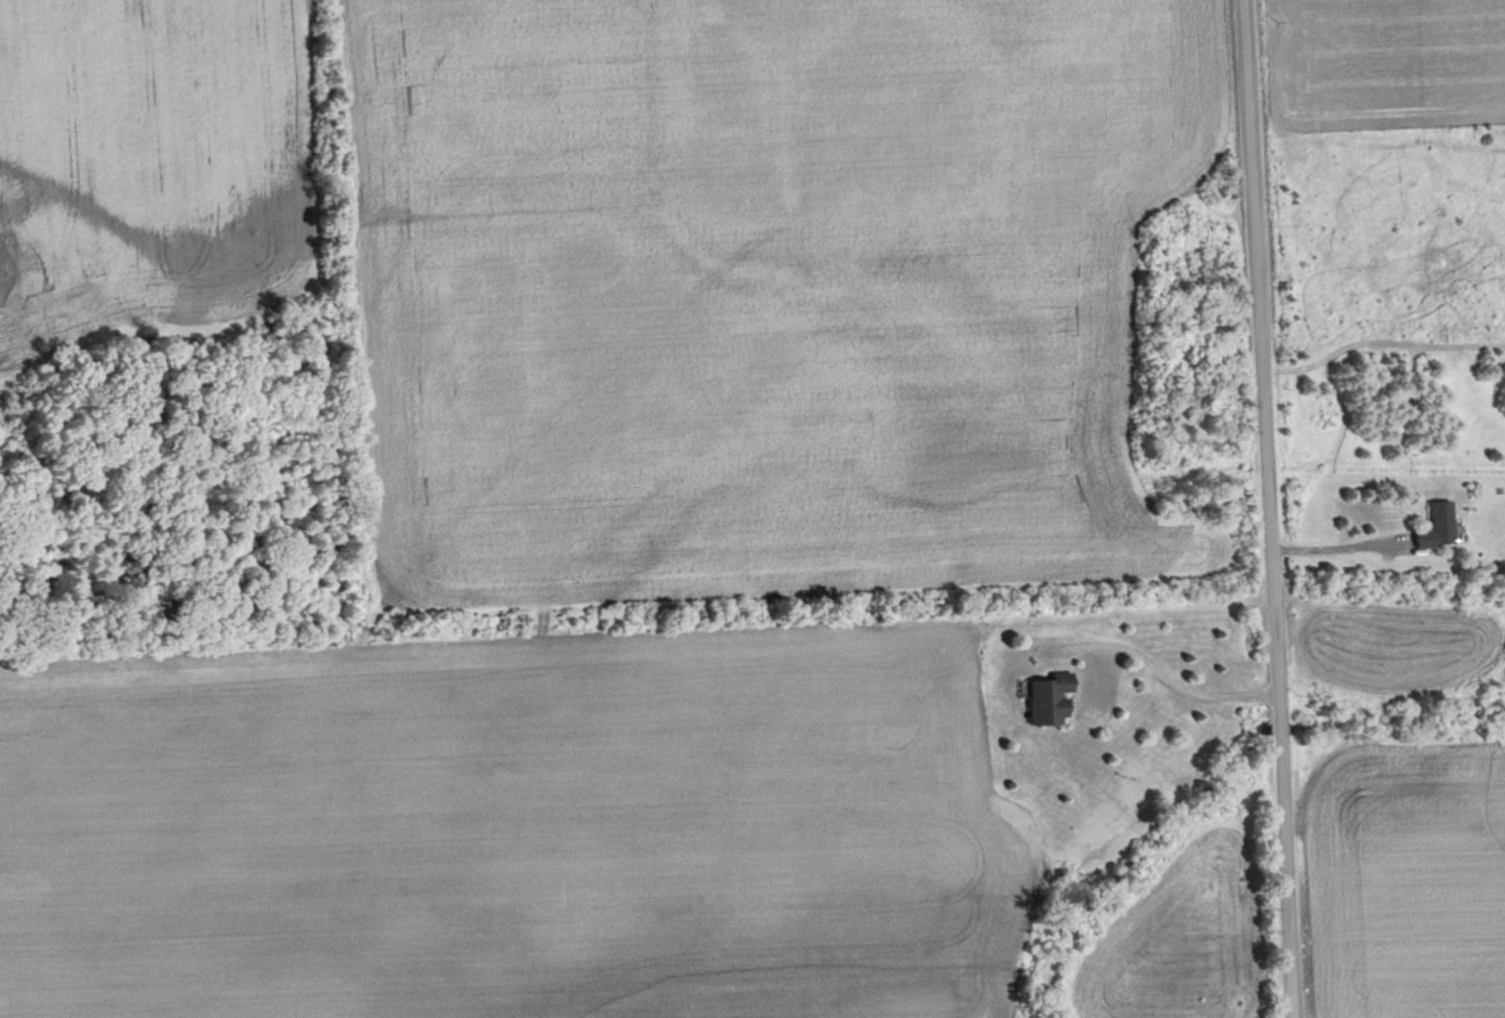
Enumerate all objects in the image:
road: (1267, 508)
building: (1438, 526)
road: (1156, 673)
building: (1051, 700)

